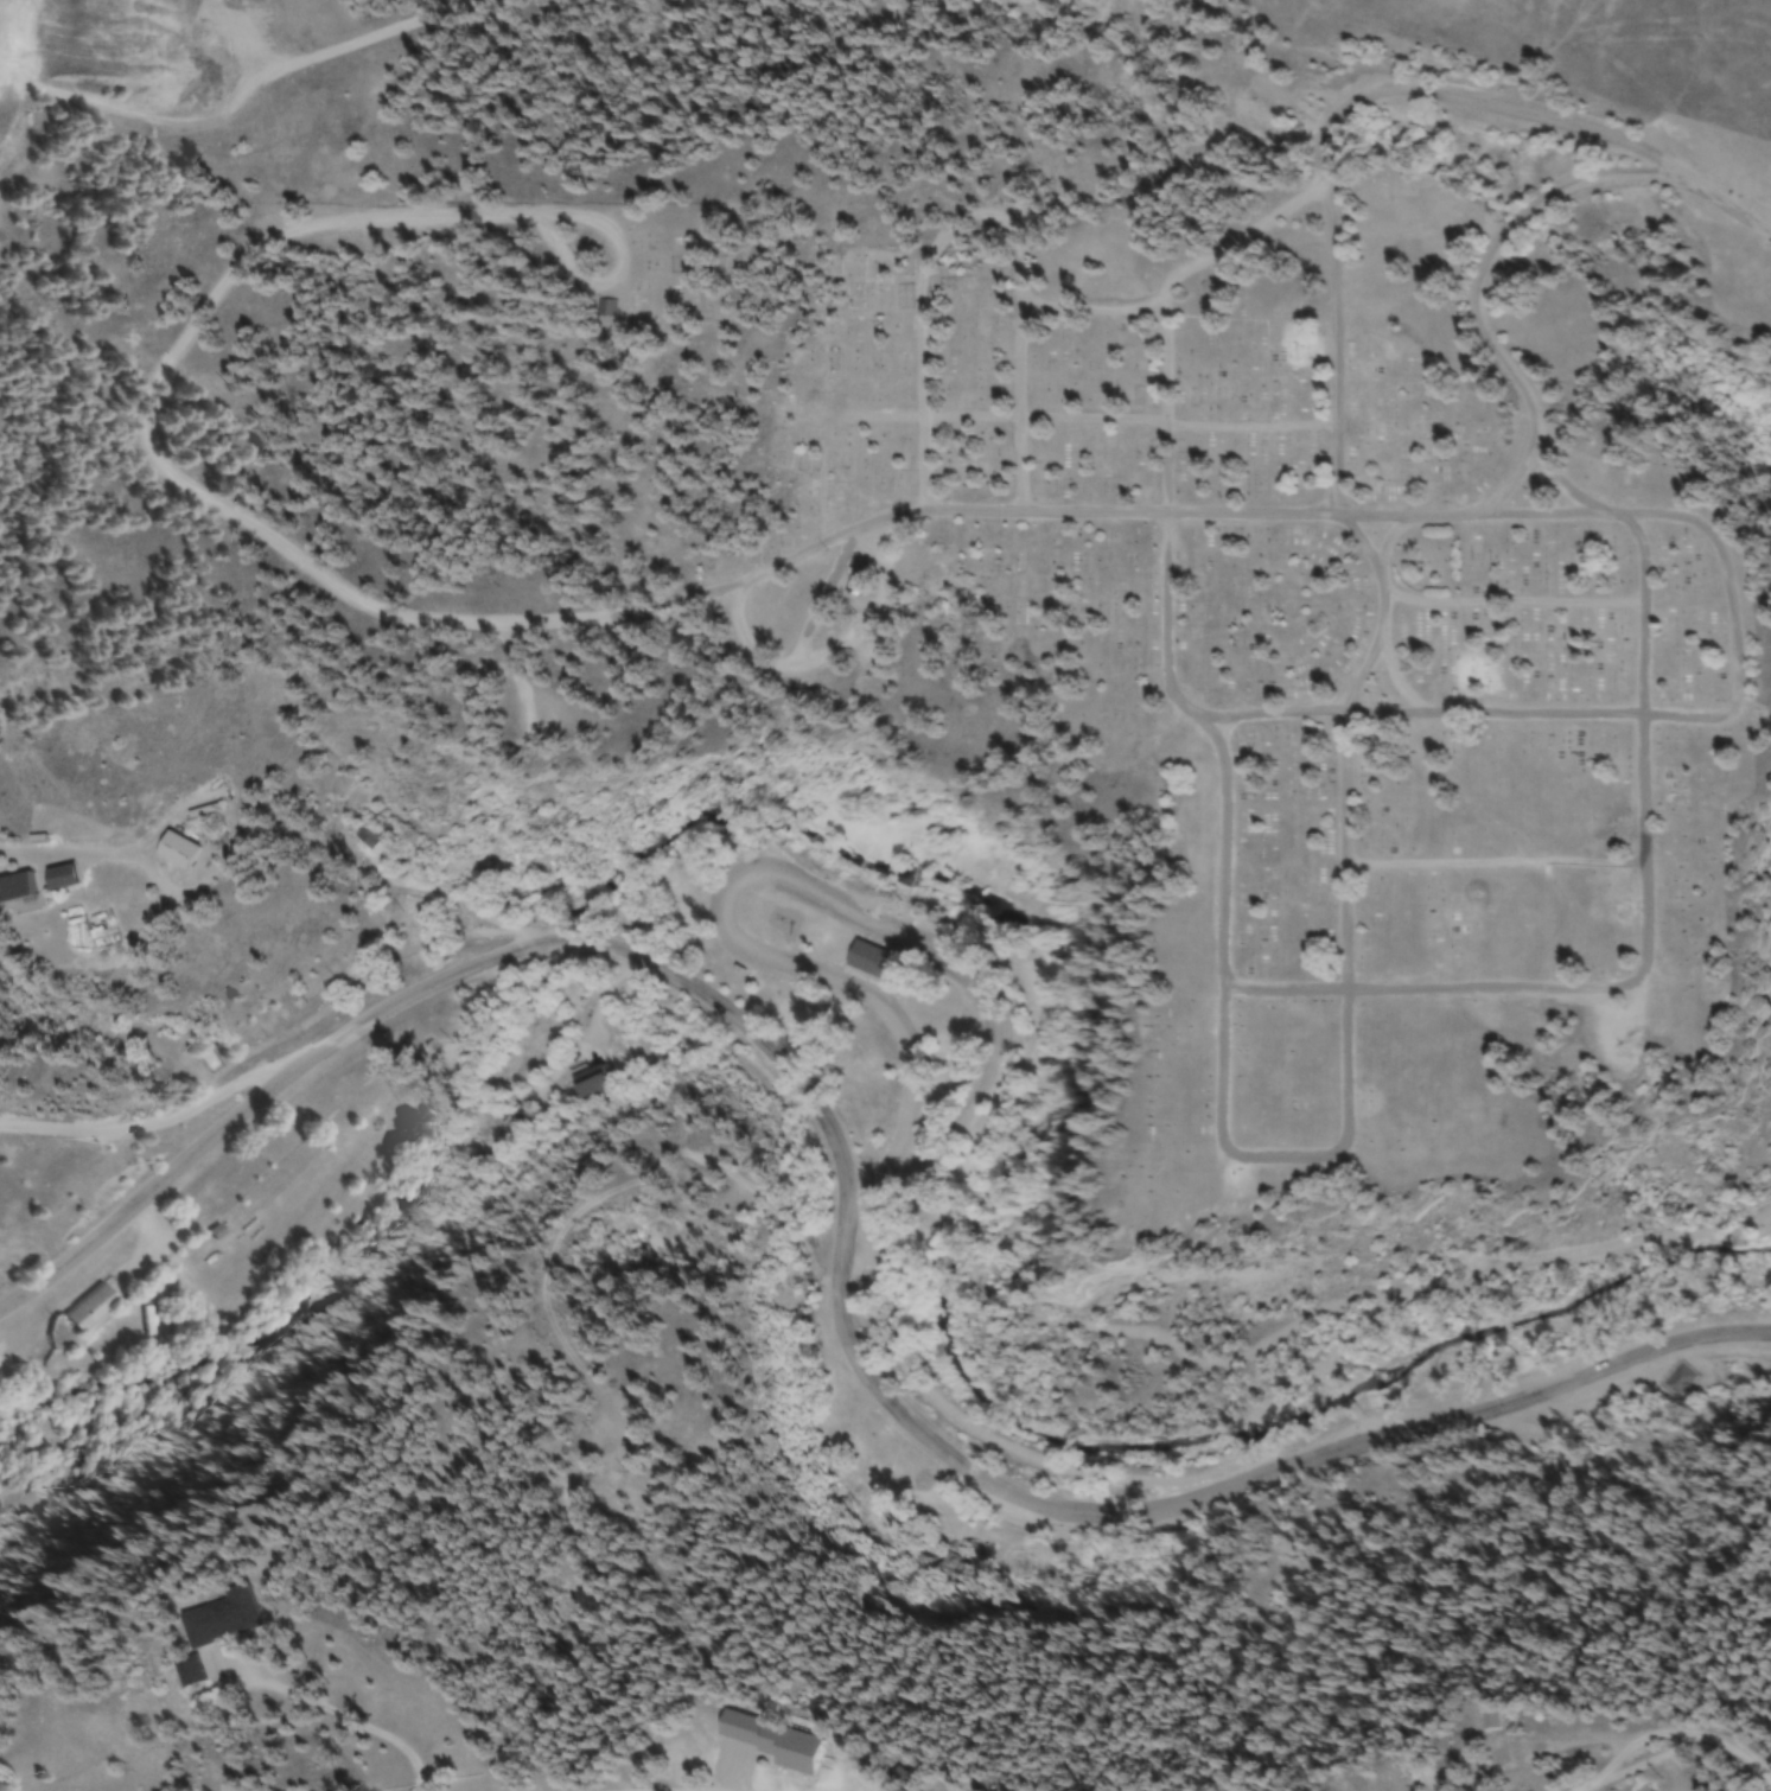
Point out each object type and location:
road: (1331, 129)
road: (1727, 206)
road: (981, 217)
road: (1187, 272)
building: (604, 311)
road: (1501, 357)
road: (1129, 418)
road: (1562, 485)
road: (1388, 537)
road: (1372, 565)
road: (823, 593)
road: (348, 600)
road: (1510, 600)
road: (822, 657)
road: (1363, 669)
road: (1396, 680)
road: (1733, 688)
road: (1275, 714)
building: (174, 853)
road: (1495, 861)
building: (543, 863)
road: (779, 877)
building: (14, 891)
building: (866, 962)
park: (852, 983)
road: (1311, 992)
road: (1345, 1072)
building: (590, 1083)
road: (155, 1115)
building: (512, 1117)
road: (861, 1191)
road: (842, 1228)
building: (87, 1312)
building: (1681, 1383)
river: (985, 1404)
park: (956, 1489)
building: (954, 1570)
building: (215, 1621)
building: (1487, 1722)
building: (769, 1745)
road: (1677, 1751)

